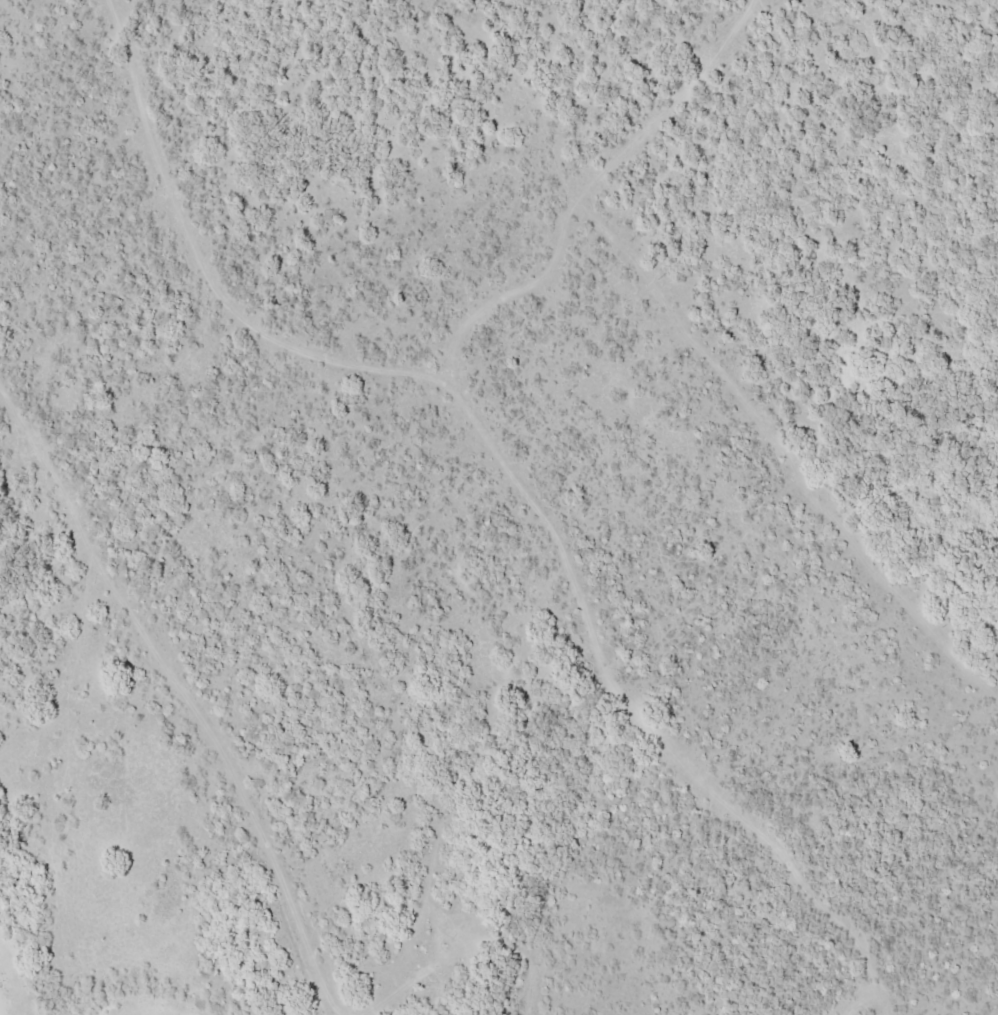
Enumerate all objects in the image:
road: (351, 366)
road: (174, 694)

